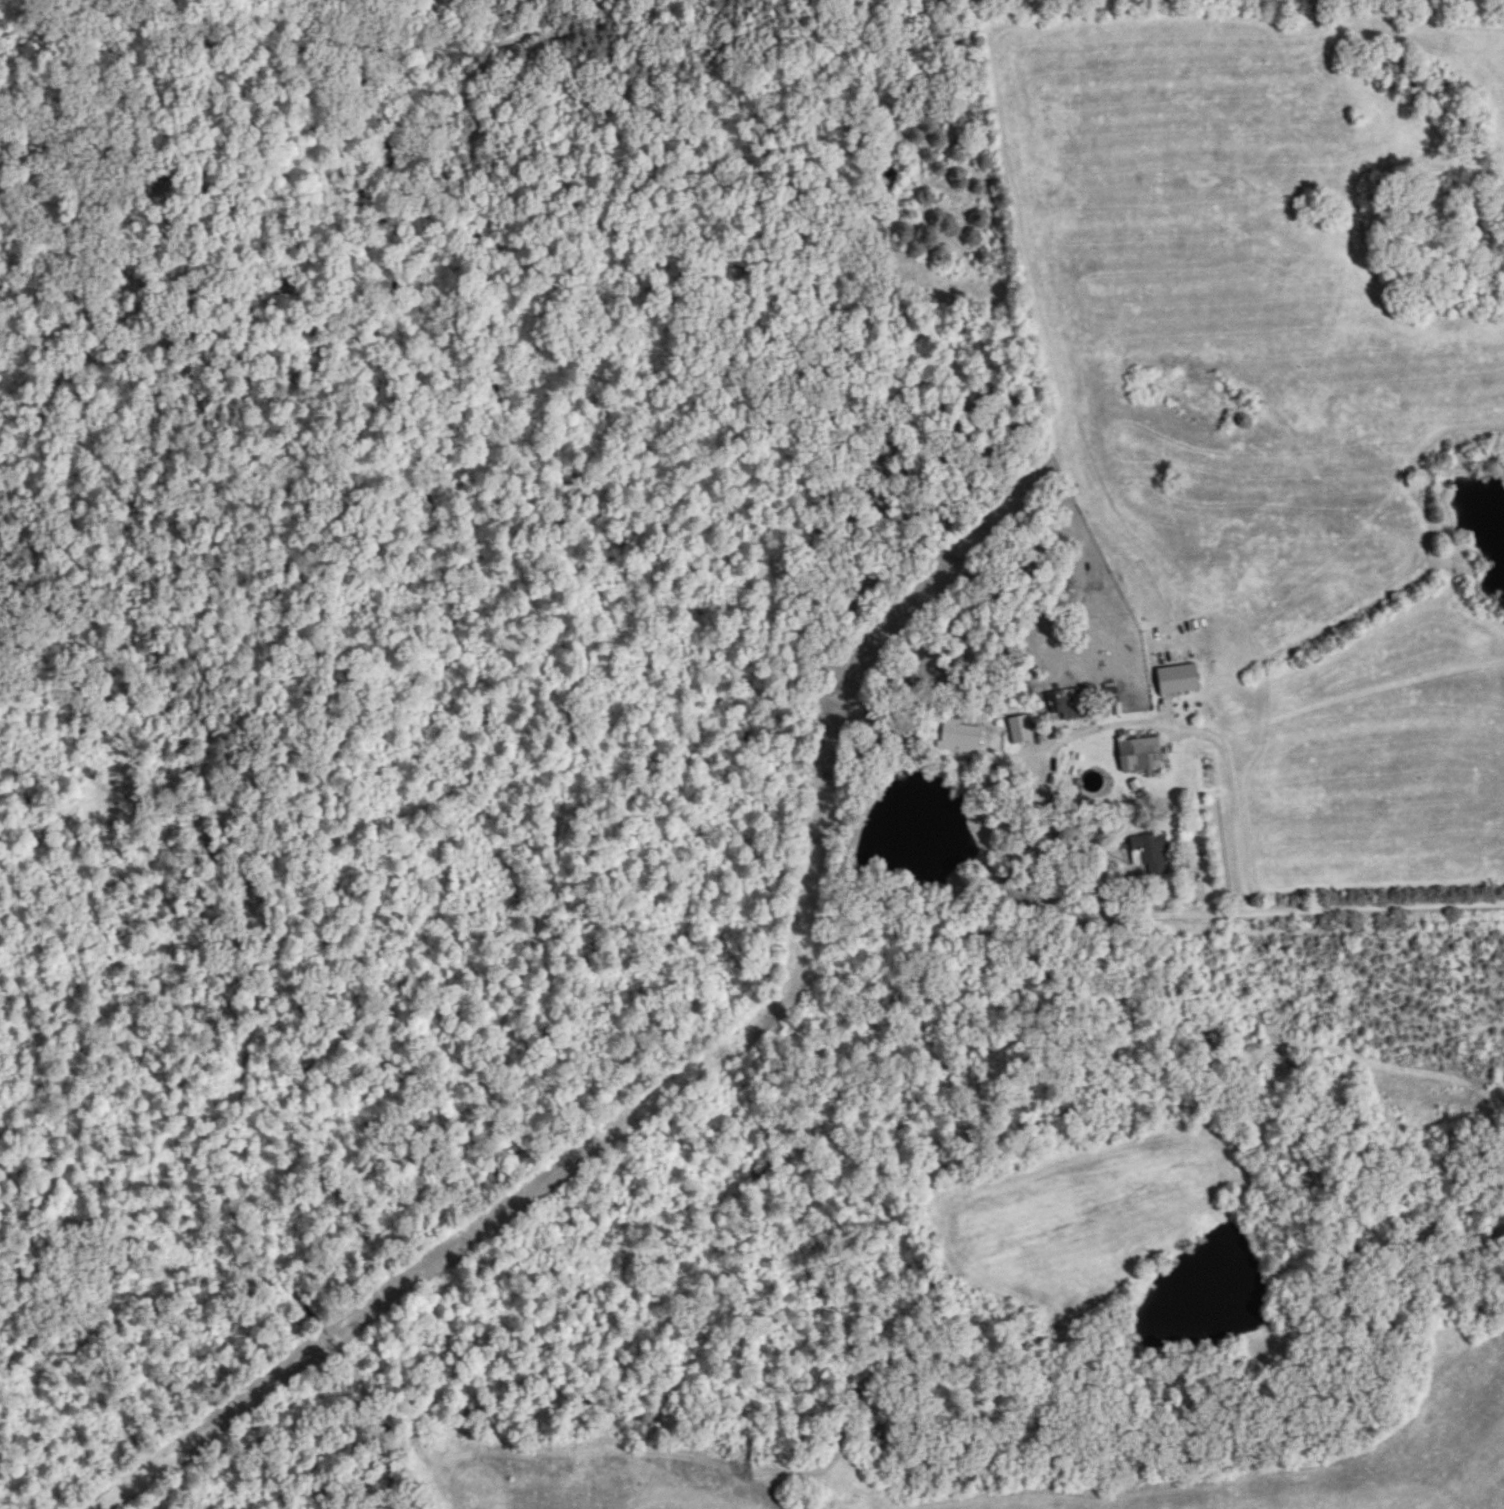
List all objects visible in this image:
road: (838, 689)
building: (1107, 696)
building: (1069, 702)
road: (1209, 730)
building: (1139, 756)
road: (1046, 848)
building: (1148, 855)
road: (790, 1000)

